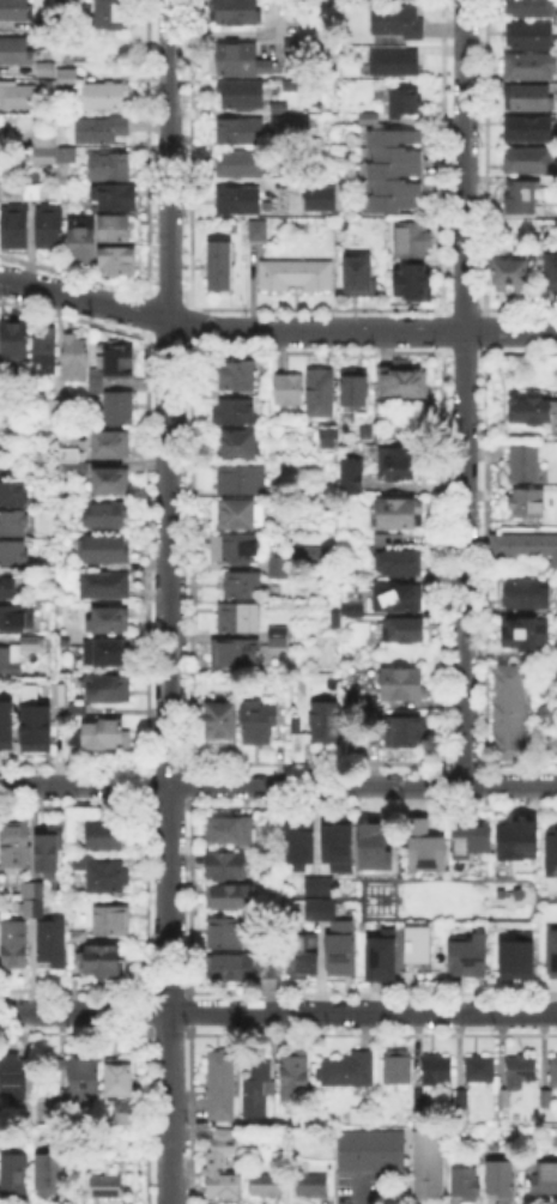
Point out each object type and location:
building: (531, 6)
building: (16, 11)
building: (236, 12)
building: (114, 14)
building: (398, 25)
building: (529, 37)
building: (14, 49)
building: (296, 50)
building: (67, 59)
building: (236, 59)
building: (389, 62)
building: (42, 66)
building: (532, 67)
building: (65, 75)
building: (238, 92)
building: (528, 95)
building: (105, 96)
building: (19, 98)
building: (406, 104)
building: (276, 105)
building: (365, 116)
building: (290, 122)
building: (528, 128)
building: (2, 129)
building: (101, 129)
building: (238, 129)
building: (43, 134)
building: (43, 153)
building: (62, 157)
building: (531, 162)
building: (111, 167)
building: (240, 167)
building: (393, 171)
building: (34, 194)
building: (113, 194)
building: (317, 196)
building: (525, 201)
building: (238, 202)
building: (52, 228)
building: (16, 229)
building: (255, 229)
building: (117, 230)
building: (83, 241)
building: (412, 241)
building: (119, 262)
building: (220, 267)
building: (552, 271)
building: (292, 273)
building: (356, 274)
building: (510, 274)
building: (416, 283)
road: (274, 329)
building: (14, 341)
building: (46, 352)
building: (75, 357)
building: (119, 361)
building: (236, 376)
building: (402, 380)
building: (97, 381)
building: (356, 389)
building: (290, 392)
road: (464, 392)
building: (321, 394)
building: (55, 407)
building: (121, 409)
building: (235, 412)
building: (532, 412)
building: (325, 437)
building: (333, 443)
building: (113, 446)
building: (240, 447)
building: (65, 454)
building: (75, 460)
building: (395, 464)
building: (527, 466)
building: (353, 477)
building: (241, 482)
building: (113, 483)
building: (13, 494)
building: (529, 506)
building: (108, 515)
building: (237, 515)
building: (400, 515)
building: (13, 525)
building: (386, 537)
building: (526, 547)
building: (238, 549)
building: (105, 550)
building: (309, 555)
building: (395, 556)
building: (14, 557)
building: (280, 568)
building: (105, 585)
building: (243, 586)
building: (10, 589)
building: (526, 595)
building: (396, 598)
road: (165, 601)
building: (356, 611)
building: (16, 618)
building: (238, 621)
building: (110, 622)
building: (404, 631)
building: (526, 634)
building: (279, 639)
building: (35, 646)
building: (109, 654)
building: (238, 655)
building: (11, 662)
building: (556, 673)
building: (405, 685)
building: (109, 690)
building: (59, 694)
building: (79, 710)
building: (509, 713)
building: (546, 714)
building: (326, 721)
building: (222, 722)
building: (6, 724)
building: (258, 724)
building: (36, 726)
building: (102, 734)
building: (407, 734)
road: (278, 783)
building: (231, 831)
building: (105, 837)
building: (515, 837)
building: (470, 839)
building: (296, 841)
building: (334, 841)
building: (423, 845)
building: (17, 846)
building: (371, 846)
building: (550, 851)
building: (49, 853)
building: (228, 867)
building: (104, 875)
building: (316, 884)
building: (230, 899)
building: (34, 900)
building: (317, 907)
building: (113, 921)
building: (228, 934)
building: (80, 938)
building: (54, 944)
building: (16, 946)
building: (337, 946)
building: (414, 949)
building: (551, 949)
building: (299, 952)
building: (472, 952)
building: (381, 955)
building: (514, 956)
building: (104, 961)
building: (244, 969)
road: (278, 1009)
building: (399, 1069)
building: (482, 1070)
building: (522, 1070)
building: (349, 1071)
building: (437, 1072)
building: (553, 1073)
building: (297, 1075)
building: (14, 1078)
building: (83, 1078)
building: (121, 1079)
building: (223, 1085)
building: (259, 1088)
building: (501, 1096)
building: (419, 1100)
building: (462, 1100)
building: (546, 1100)
building: (129, 1112)
building: (374, 1152)
building: (223, 1166)
building: (430, 1166)
building: (17, 1176)
building: (50, 1176)
building: (503, 1178)
building: (545, 1184)
building: (466, 1185)
building: (108, 1186)
building: (267, 1186)
building: (313, 1190)

